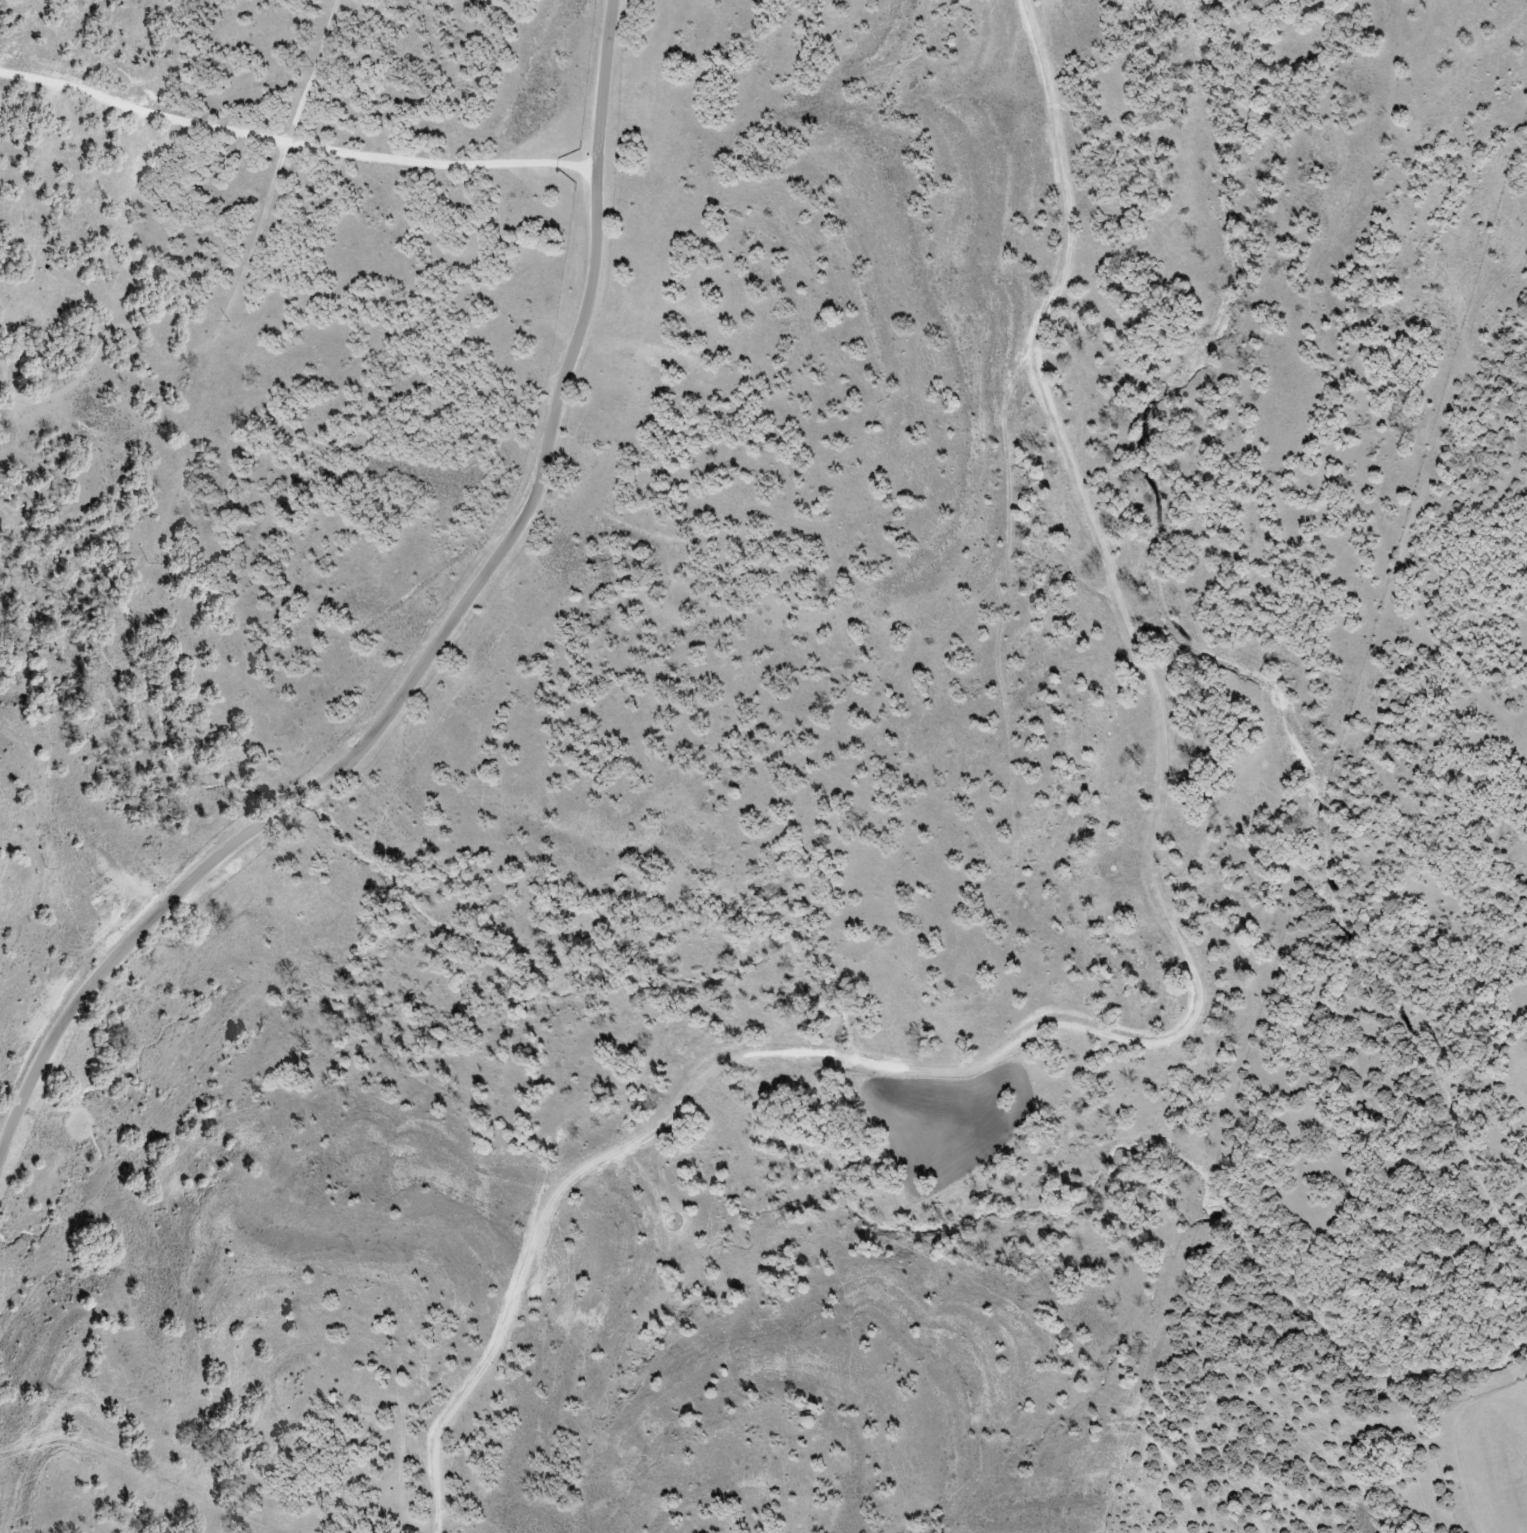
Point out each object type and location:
road: (293, 158)
road: (434, 642)

